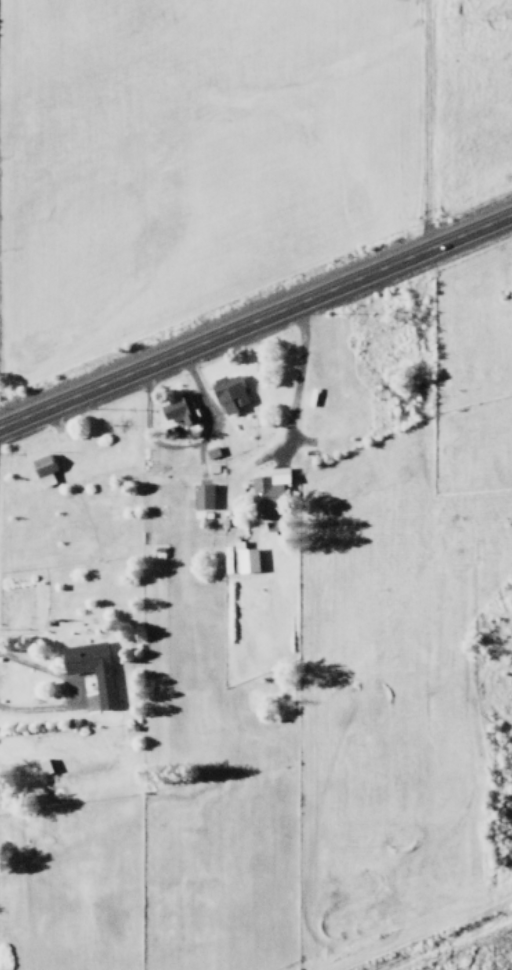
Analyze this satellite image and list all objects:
road: (256, 318)
road: (295, 375)
building: (228, 393)
building: (178, 409)
building: (43, 469)
building: (268, 495)
building: (203, 496)
building: (244, 558)
building: (91, 668)

